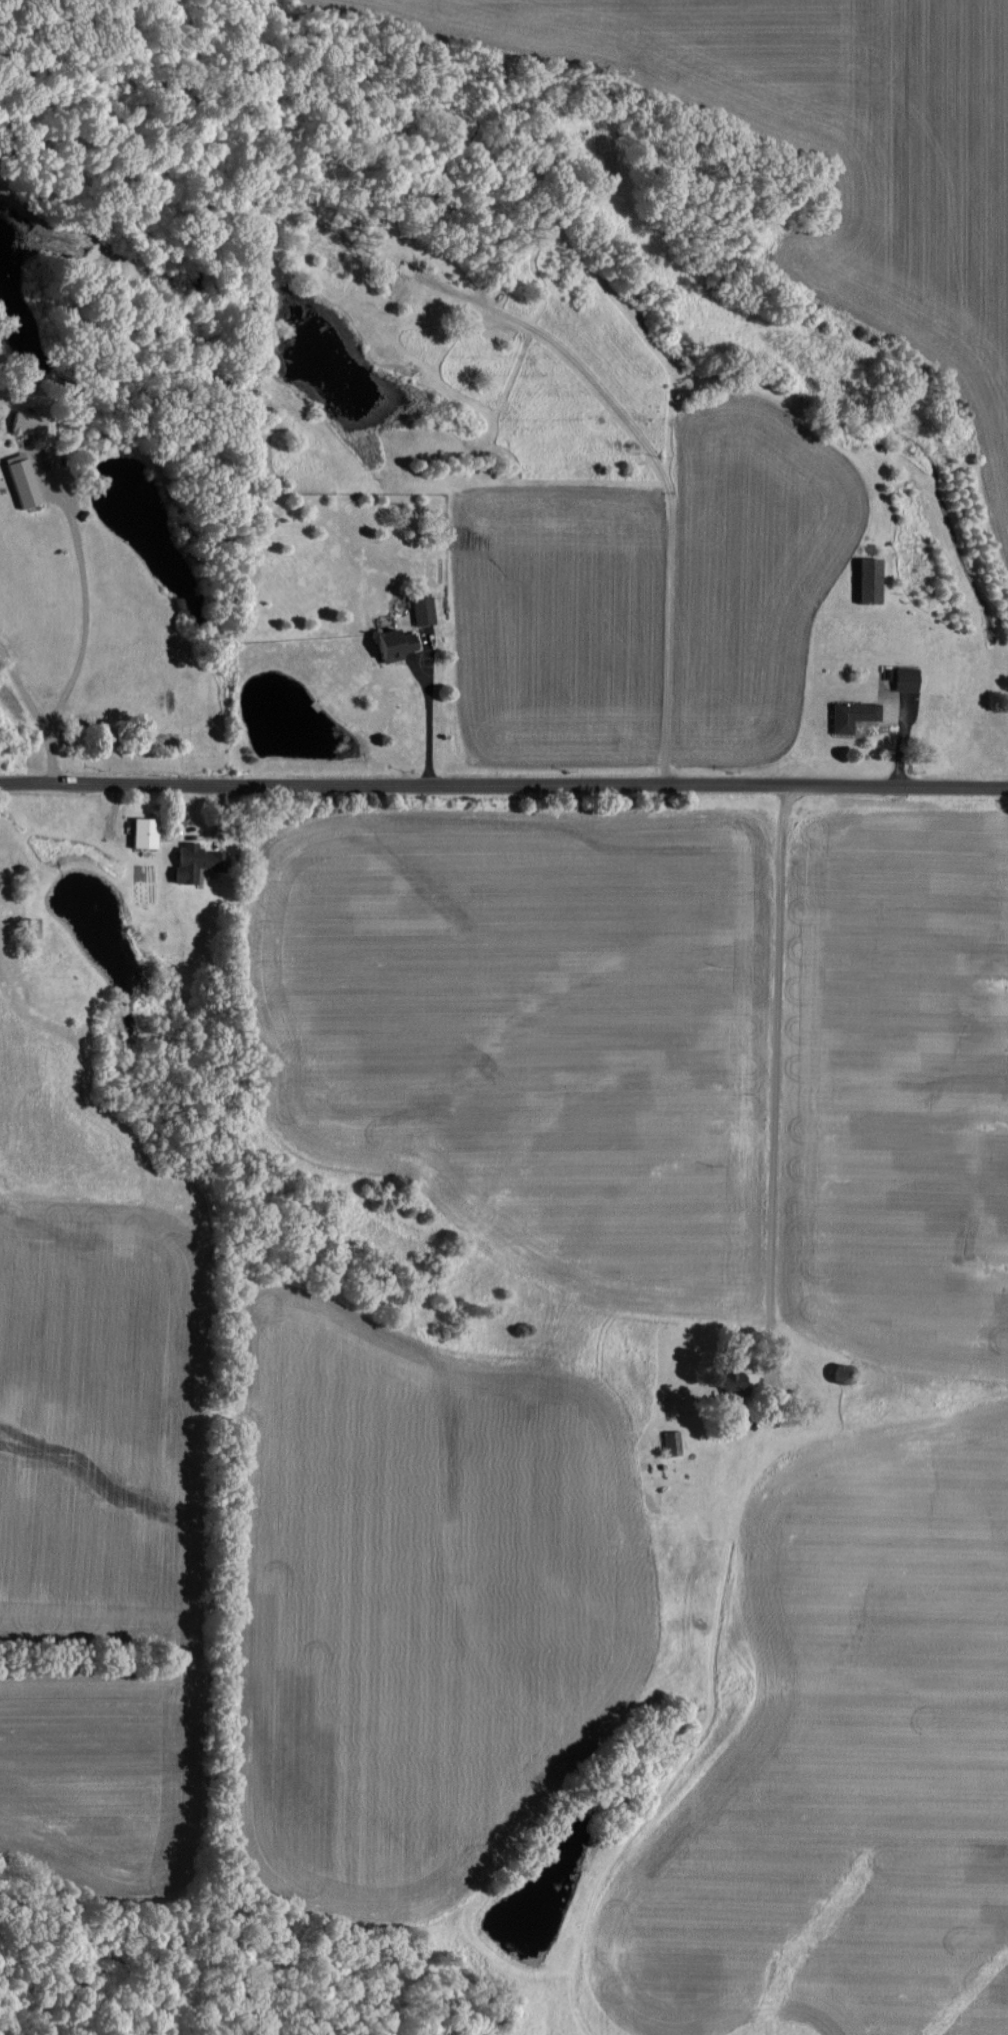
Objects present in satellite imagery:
building: (19, 422)
building: (18, 478)
building: (865, 578)
road: (83, 604)
building: (420, 609)
building: (387, 643)
building: (903, 677)
building: (849, 713)
road: (36, 716)
road: (426, 725)
road: (503, 785)
building: (141, 831)
building: (191, 861)
road: (774, 1057)
building: (724, 1379)
building: (670, 1442)

